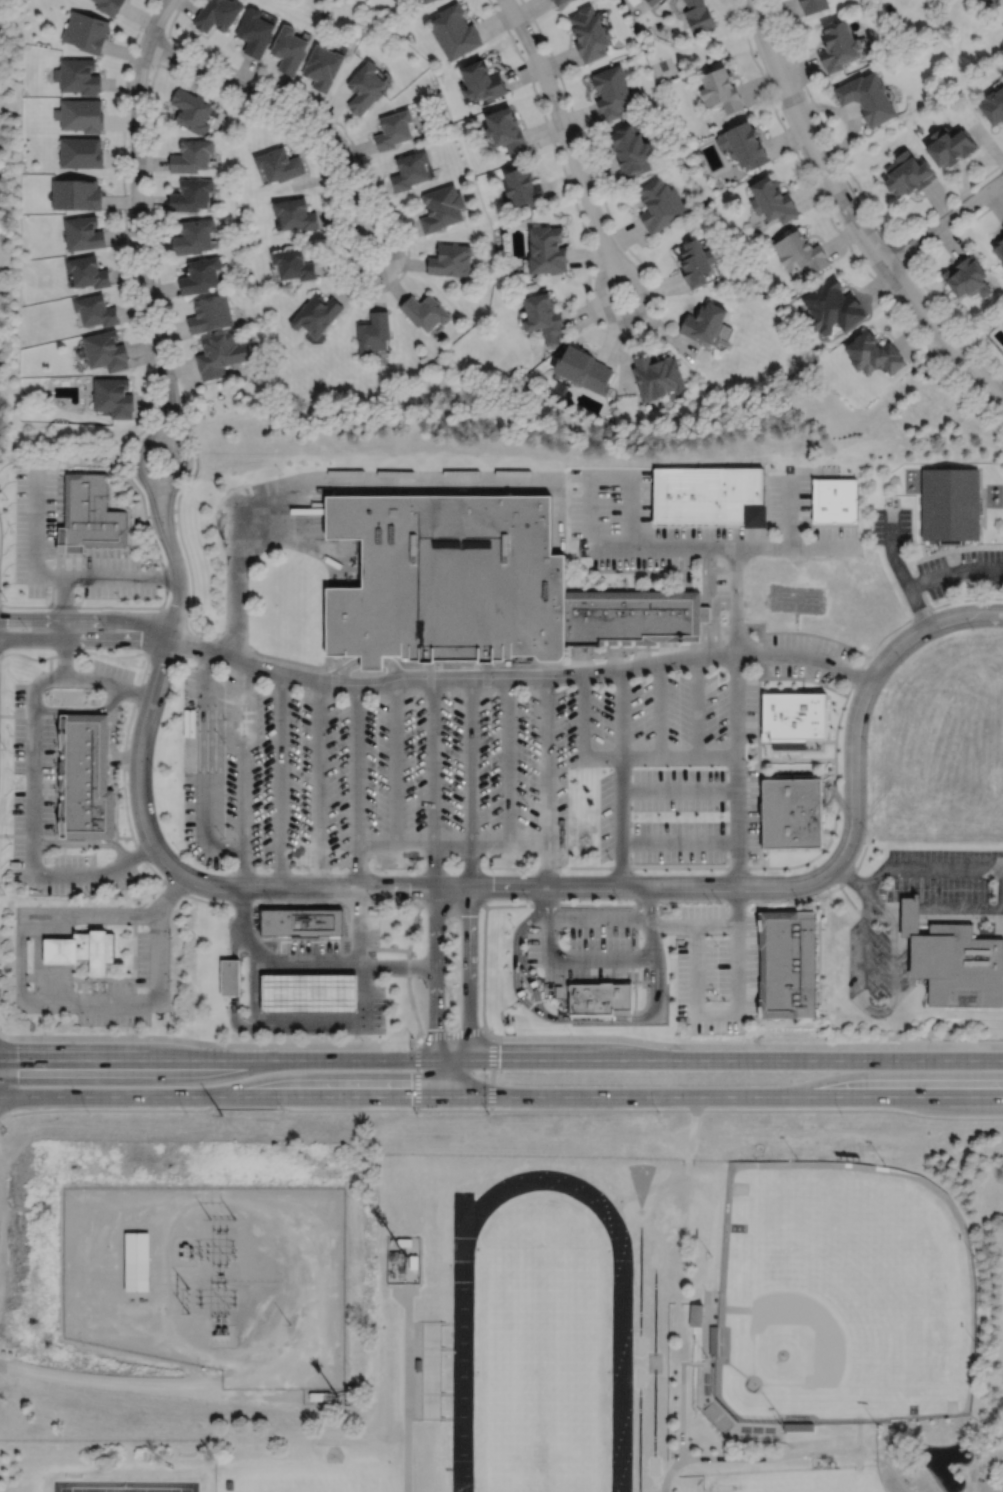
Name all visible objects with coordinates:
building: (429, 1)
building: (560, 1)
building: (652, 2)
building: (813, 5)
building: (109, 6)
building: (218, 14)
building: (698, 16)
building: (86, 31)
building: (457, 31)
building: (256, 32)
building: (590, 33)
street lamp: (782, 35)
building: (840, 44)
road: (162, 47)
building: (290, 49)
building: (324, 66)
street lamp: (153, 67)
park: (663, 68)
road: (179, 71)
building: (78, 75)
street lamp: (558, 80)
building: (486, 81)
building: (366, 87)
building: (721, 89)
building: (612, 91)
building: (869, 97)
building: (993, 105)
street lamp: (255, 106)
building: (192, 111)
building: (82, 114)
road: (562, 126)
building: (395, 129)
building: (509, 131)
street lamp: (344, 136)
building: (744, 144)
building: (951, 146)
building: (632, 150)
building: (81, 151)
street lamp: (799, 153)
building: (192, 156)
road: (345, 156)
building: (280, 165)
building: (412, 170)
street lamp: (126, 173)
building: (911, 176)
road: (856, 183)
building: (525, 189)
building: (76, 193)
road: (137, 194)
building: (192, 195)
street lamp: (577, 200)
building: (772, 200)
building: (660, 205)
building: (443, 208)
building: (297, 214)
road: (852, 215)
road: (944, 222)
road: (836, 230)
building: (83, 232)
street lamp: (883, 235)
building: (194, 237)
street lamp: (404, 245)
building: (999, 249)
building: (546, 250)
building: (801, 253)
road: (901, 254)
building: (452, 261)
building: (695, 263)
building: (295, 265)
building: (88, 272)
street lamp: (646, 273)
building: (201, 276)
road: (917, 278)
building: (967, 278)
street lamp: (135, 286)
building: (833, 308)
building: (96, 311)
building: (426, 312)
building: (211, 315)
building: (317, 315)
building: (543, 317)
road: (630, 319)
building: (705, 324)
building: (375, 334)
road: (630, 335)
street lamp: (965, 338)
building: (106, 351)
building: (874, 354)
building: (218, 356)
building: (583, 370)
building: (657, 378)
street lamp: (178, 382)
road: (154, 385)
building: (113, 398)
road: (161, 416)
road: (173, 418)
road: (948, 468)
street lamp: (283, 474)
street lamp: (161, 478)
road: (179, 478)
road: (354, 482)
road: (632, 489)
parking lot: (788, 497)
building: (711, 498)
building: (836, 502)
building: (949, 505)
road: (592, 509)
parking lot: (35, 511)
road: (162, 513)
road: (788, 514)
building: (90, 515)
road: (169, 516)
road: (156, 518)
road: (602, 522)
road: (913, 523)
parking lot: (892, 525)
street lamp: (870, 526)
street lamp: (12, 530)
street lamp: (24, 539)
road: (299, 540)
parking lot: (835, 541)
road: (951, 546)
parking lot: (656, 547)
road: (728, 547)
street lamp: (927, 552)
street lamp: (163, 555)
road: (929, 555)
street lamp: (713, 562)
street lamp: (225, 567)
road: (637, 570)
road: (899, 570)
parking lot: (962, 571)
road: (954, 572)
road: (43, 574)
road: (704, 575)
road: (166, 577)
building: (446, 579)
parking lot: (722, 581)
street lamp: (988, 592)
street lamp: (712, 595)
road: (178, 596)
street lamp: (946, 597)
street lamp: (120, 598)
road: (736, 601)
road: (63, 606)
road: (174, 608)
road: (704, 612)
building: (705, 612)
building: (631, 615)
road: (86, 618)
road: (714, 618)
street lamp: (26, 627)
street lamp: (106, 628)
road: (155, 630)
street lamp: (973, 630)
road: (775, 632)
street lamp: (204, 635)
road: (760, 637)
road: (84, 638)
road: (704, 638)
road: (577, 654)
road: (806, 655)
parking lot: (803, 656)
road: (64, 657)
road: (370, 660)
road: (249, 663)
street lamp: (904, 664)
road: (392, 665)
street lamp: (81, 667)
road: (342, 668)
street lamp: (679, 671)
parking lot: (110, 675)
road: (569, 675)
road: (764, 677)
street lamp: (173, 683)
road: (365, 683)
street lamp: (603, 683)
road: (802, 684)
street lamp: (300, 705)
street lamp: (376, 705)
street lamp: (451, 705)
street lamp: (527, 706)
road: (697, 707)
road: (74, 708)
road: (658, 710)
road: (621, 713)
road: (584, 715)
building: (793, 717)
street lamp: (11, 733)
road: (112, 733)
road: (753, 740)
street lamp: (223, 741)
road: (821, 741)
street lamp: (869, 747)
road: (753, 751)
road: (789, 754)
road: (123, 755)
road: (661, 757)
road: (509, 761)
road: (394, 762)
parking lot: (427, 763)
road: (204, 765)
street lamp: (749, 766)
street lamp: (154, 767)
street lamp: (611, 768)
road: (737, 770)
road: (796, 772)
road: (243, 773)
road: (55, 774)
road: (758, 774)
building: (83, 776)
road: (281, 779)
road: (433, 780)
road: (470, 781)
road: (547, 781)
road: (32, 782)
road: (318, 783)
road: (109, 784)
road: (119, 785)
road: (357, 785)
road: (679, 789)
road: (837, 802)
road: (840, 802)
road: (823, 803)
street lamp: (299, 804)
street lamp: (375, 804)
street lamp: (451, 805)
street lamp: (527, 805)
parking lot: (46, 809)
road: (760, 809)
building: (792, 810)
parking lot: (614, 814)
street lamp: (636, 814)
street lamp: (721, 815)
road: (622, 821)
road: (823, 830)
road: (831, 830)
street lamp: (868, 834)
street lamp: (223, 835)
street lamp: (9, 841)
road: (84, 841)
road: (679, 842)
road: (452, 846)
street lamp: (180, 850)
street lamp: (611, 858)
street lamp: (754, 860)
road: (991, 868)
road: (182, 873)
parking lot: (951, 879)
road: (811, 880)
street lamp: (882, 888)
street lamp: (940, 889)
street lamp: (991, 889)
street lamp: (90, 895)
street lamp: (153, 895)
road: (357, 898)
street lamp: (271, 900)
street lamp: (529, 900)
road: (547, 900)
street lamp: (620, 900)
road: (646, 900)
street lamp: (374, 901)
street lamp: (709, 901)
street lamp: (719, 902)
street lamp: (799, 902)
street lamp: (39, 903)
street lamp: (79, 903)
street lamp: (120, 903)
road: (493, 905)
road: (243, 907)
road: (891, 908)
road: (909, 908)
road: (20, 914)
street lamp: (659, 914)
road: (875, 919)
street lamp: (881, 921)
building: (302, 922)
street lamp: (451, 923)
road: (673, 924)
road: (48, 925)
road: (57, 925)
road: (66, 925)
street lamp: (513, 926)
parking lot: (371, 928)
street lamp: (169, 936)
road: (308, 936)
road: (333, 937)
road: (357, 938)
street lamp: (560, 938)
road: (234, 941)
road: (277, 944)
street lamp: (716, 944)
parking lot: (308, 945)
road: (340, 945)
parking lot: (584, 945)
road: (818, 946)
road: (48, 949)
road: (57, 949)
road: (66, 949)
building: (81, 949)
road: (38, 958)
road: (647, 958)
building: (953, 961)
building: (787, 963)
road: (299, 966)
road: (406, 966)
road: (408, 968)
road: (483, 968)
parking lot: (875, 968)
road: (264, 969)
road: (281, 969)
road: (300, 969)
road: (319, 969)
road: (338, 969)
parking lot: (716, 969)
street lamp: (510, 971)
road: (157, 976)
building: (229, 976)
road: (232, 976)
road: (102, 977)
street lamp: (170, 978)
road: (555, 980)
road: (583, 980)
road: (642, 981)
road: (661, 981)
road: (49, 982)
road: (57, 982)
road: (66, 982)
road: (98, 982)
parking lot: (130, 986)
building: (558, 991)
road: (264, 992)
road: (281, 992)
road: (300, 992)
building: (309, 992)
gas station: (309, 992)
road: (319, 992)
road: (338, 992)
road: (435, 992)
road: (517, 992)
street lamp: (717, 992)
street lamp: (880, 993)
road: (469, 994)
street lamp: (451, 996)
street lamp: (667, 998)
building: (599, 999)
road: (863, 1003)
parking lot: (377, 1006)
road: (715, 1012)
street lamp: (51, 1013)
road: (234, 1017)
road: (560, 1018)
road: (264, 1019)
road: (281, 1019)
road: (300, 1019)
road: (319, 1019)
road: (339, 1019)
street lamp: (687, 1022)
street lamp: (577, 1023)
street lamp: (91, 1025)
street lamp: (133, 1026)
road: (340, 1027)
street lamp: (135, 1031)
street lamp: (44, 1032)
road: (452, 1032)
street lamp: (570, 1033)
street lamp: (412, 1035)
street lamp: (226, 1040)
street lamp: (363, 1040)
street lamp: (748, 1041)
street lamp: (930, 1042)
road: (210, 1044)
road: (742, 1046)
road: (501, 1060)
traffic signals: (434, 1061)
traffic signals: (465, 1061)
road: (492, 1073)
road: (0, 1076)
traffic signals: (446, 1098)
road: (501, 1098)
road: (245, 1107)
road: (747, 1110)
street lamp: (841, 1113)
road: (693, 1128)
road: (686, 1177)
road: (543, 1179)
park: (641, 1179)
road: (464, 1229)
building: (136, 1261)
road: (641, 1286)
park: (843, 1295)
road: (408, 1304)
road: (656, 1306)
building: (695, 1315)
building: (416, 1366)
park: (542, 1370)
road: (249, 1375)
road: (80, 1378)
road: (192, 1384)
road: (231, 1396)
road: (683, 1396)
road: (408, 1408)
building: (718, 1415)
road: (655, 1418)
road: (641, 1434)
road: (822, 1451)
road: (721, 1458)
road: (670, 1473)
park: (335, 1479)
park: (797, 1479)
building: (228, 1484)
road: (463, 1488)
park: (145, 1491)

